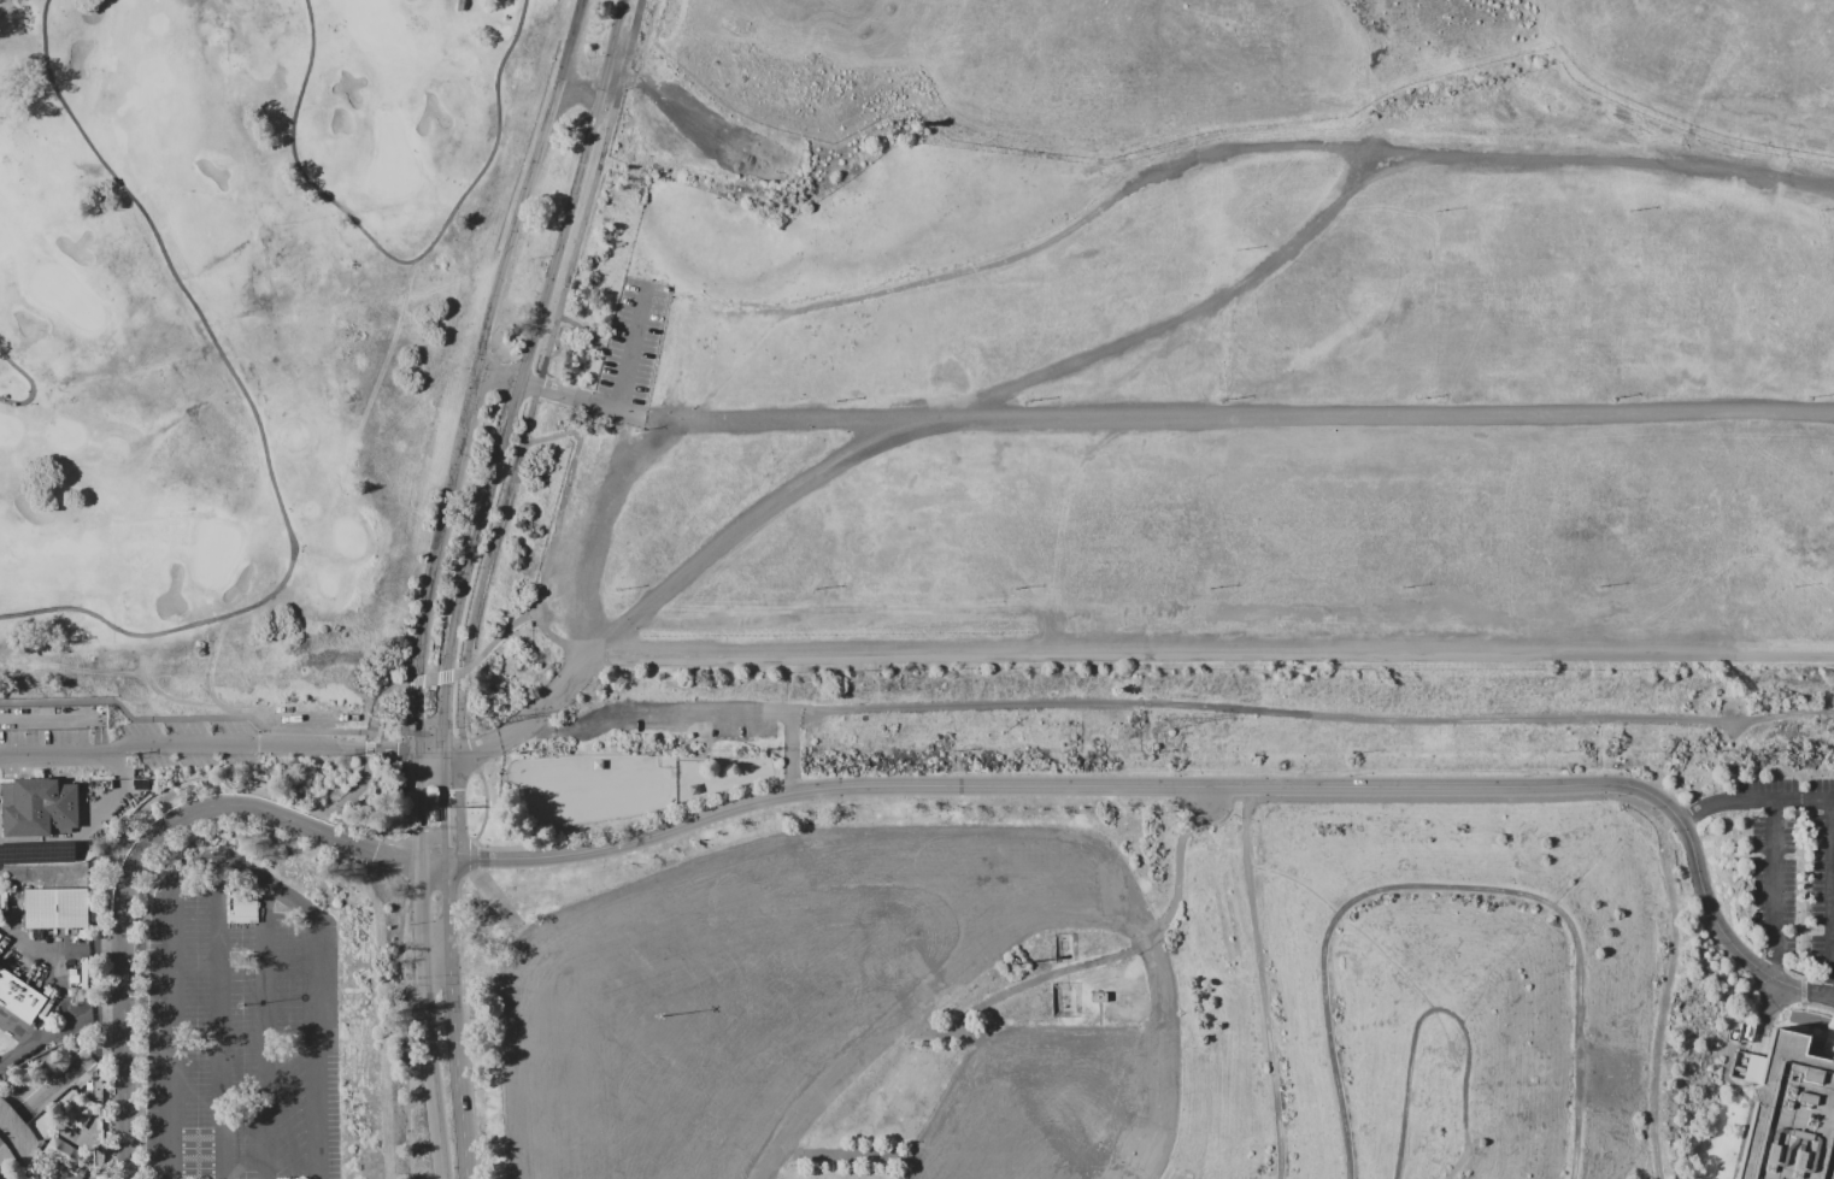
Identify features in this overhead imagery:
road: (675, 101)
road: (1616, 138)
road: (1129, 188)
street lamp: (1436, 207)
street lamp: (1629, 210)
street lamp: (1821, 212)
park: (868, 224)
street lamp: (1235, 248)
road: (402, 257)
park: (235, 301)
road: (581, 328)
park: (913, 331)
road: (551, 334)
road: (631, 344)
parking lot: (630, 349)
road: (474, 369)
road: (1054, 371)
road: (521, 372)
road: (34, 379)
road: (546, 385)
street lamp: (1809, 396)
street lamp: (1419, 397)
street lamp: (1612, 397)
street lamp: (1029, 399)
street lamp: (1223, 399)
street lamp: (834, 400)
road: (630, 411)
road: (260, 415)
road: (1123, 419)
road: (664, 420)
parking lot: (1258, 424)
road: (580, 431)
parking lot: (1424, 434)
road: (547, 556)
street lamp: (1599, 584)
street lamp: (1013, 586)
street lamp: (1207, 586)
street lamp: (1793, 586)
street lamp: (619, 588)
street lamp: (815, 588)
street lamp: (1404, 589)
road: (495, 638)
road: (1210, 659)
road: (394, 686)
road: (693, 706)
road: (460, 709)
road: (183, 717)
road: (535, 717)
road: (1312, 720)
power tower: (477, 721)
power tower: (1165, 723)
power tower: (1817, 724)
parking lot: (141, 742)
road: (182, 742)
road: (392, 747)
road: (437, 748)
road: (443, 768)
street lamp: (1771, 777)
street lamp: (1809, 777)
road: (357, 785)
road: (1176, 785)
street lamp: (1711, 792)
street lamp: (1617, 795)
road: (117, 796)
building: (430, 800)
road: (1756, 802)
road: (419, 804)
building: (37, 806)
street lamp: (1652, 808)
road: (446, 825)
street lamp: (1746, 827)
street lamp: (1674, 831)
street lamp: (1700, 836)
road: (472, 842)
road: (140, 849)
building: (36, 850)
road: (113, 862)
road: (237, 865)
street lamp: (1687, 872)
parking lot: (1793, 874)
road: (1450, 886)
road: (1775, 890)
road: (1804, 901)
road: (1833, 901)
building: (54, 907)
street lamp: (1698, 910)
building: (611, 931)
street lamp: (1717, 943)
road: (58, 947)
road: (1122, 954)
road: (1156, 968)
street lamp: (1745, 971)
road: (1068, 972)
road: (1263, 980)
parking lot: (765, 986)
park: (1434, 991)
road: (1820, 995)
building: (18, 996)
building: (1099, 997)
road: (1669, 997)
street lamp: (241, 1003)
street lamp: (1759, 1003)
road: (1820, 1006)
building: (249, 1008)
road: (1100, 1013)
street lamp: (660, 1014)
road: (1424, 1014)
road: (218, 1018)
road: (72, 1019)
road: (452, 1020)
road: (425, 1021)
road: (263, 1030)
road: (405, 1032)
road: (169, 1036)
parking lot: (239, 1036)
road: (942, 1036)
road: (27, 1041)
road: (312, 1048)
building: (1752, 1067)
road: (58, 1080)
building: (94, 1086)
road: (1751, 1101)
parking lot: (1056, 1104)
building: (76, 1113)
building: (1791, 1114)
road: (14, 1131)
road: (33, 1143)
building: (251, 1144)
building: (60, 1150)
building: (96, 1154)
road: (851, 1156)
road: (1458, 1163)
road: (39, 1165)

